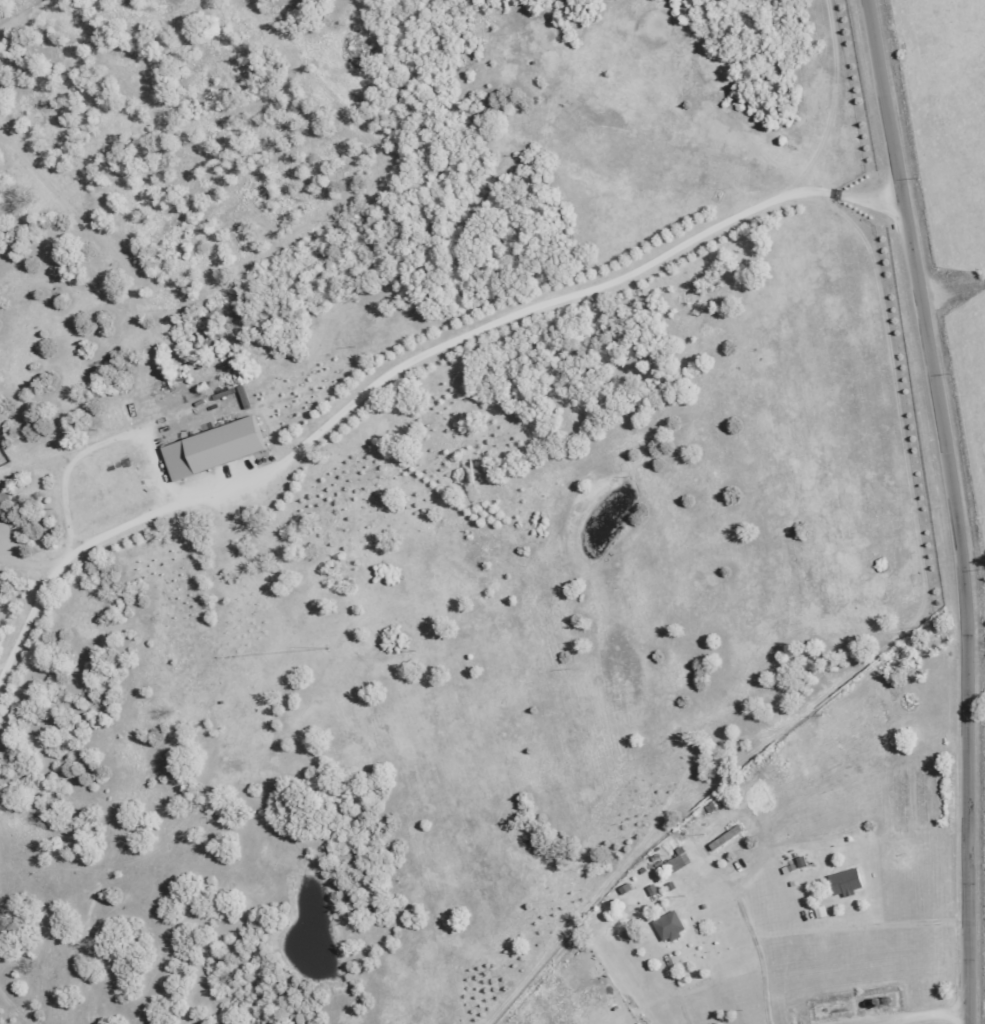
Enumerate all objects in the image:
building: (211, 449)
road: (942, 510)
building: (0, 516)
building: (726, 838)
building: (680, 862)
building: (846, 883)
building: (653, 891)
building: (669, 927)

